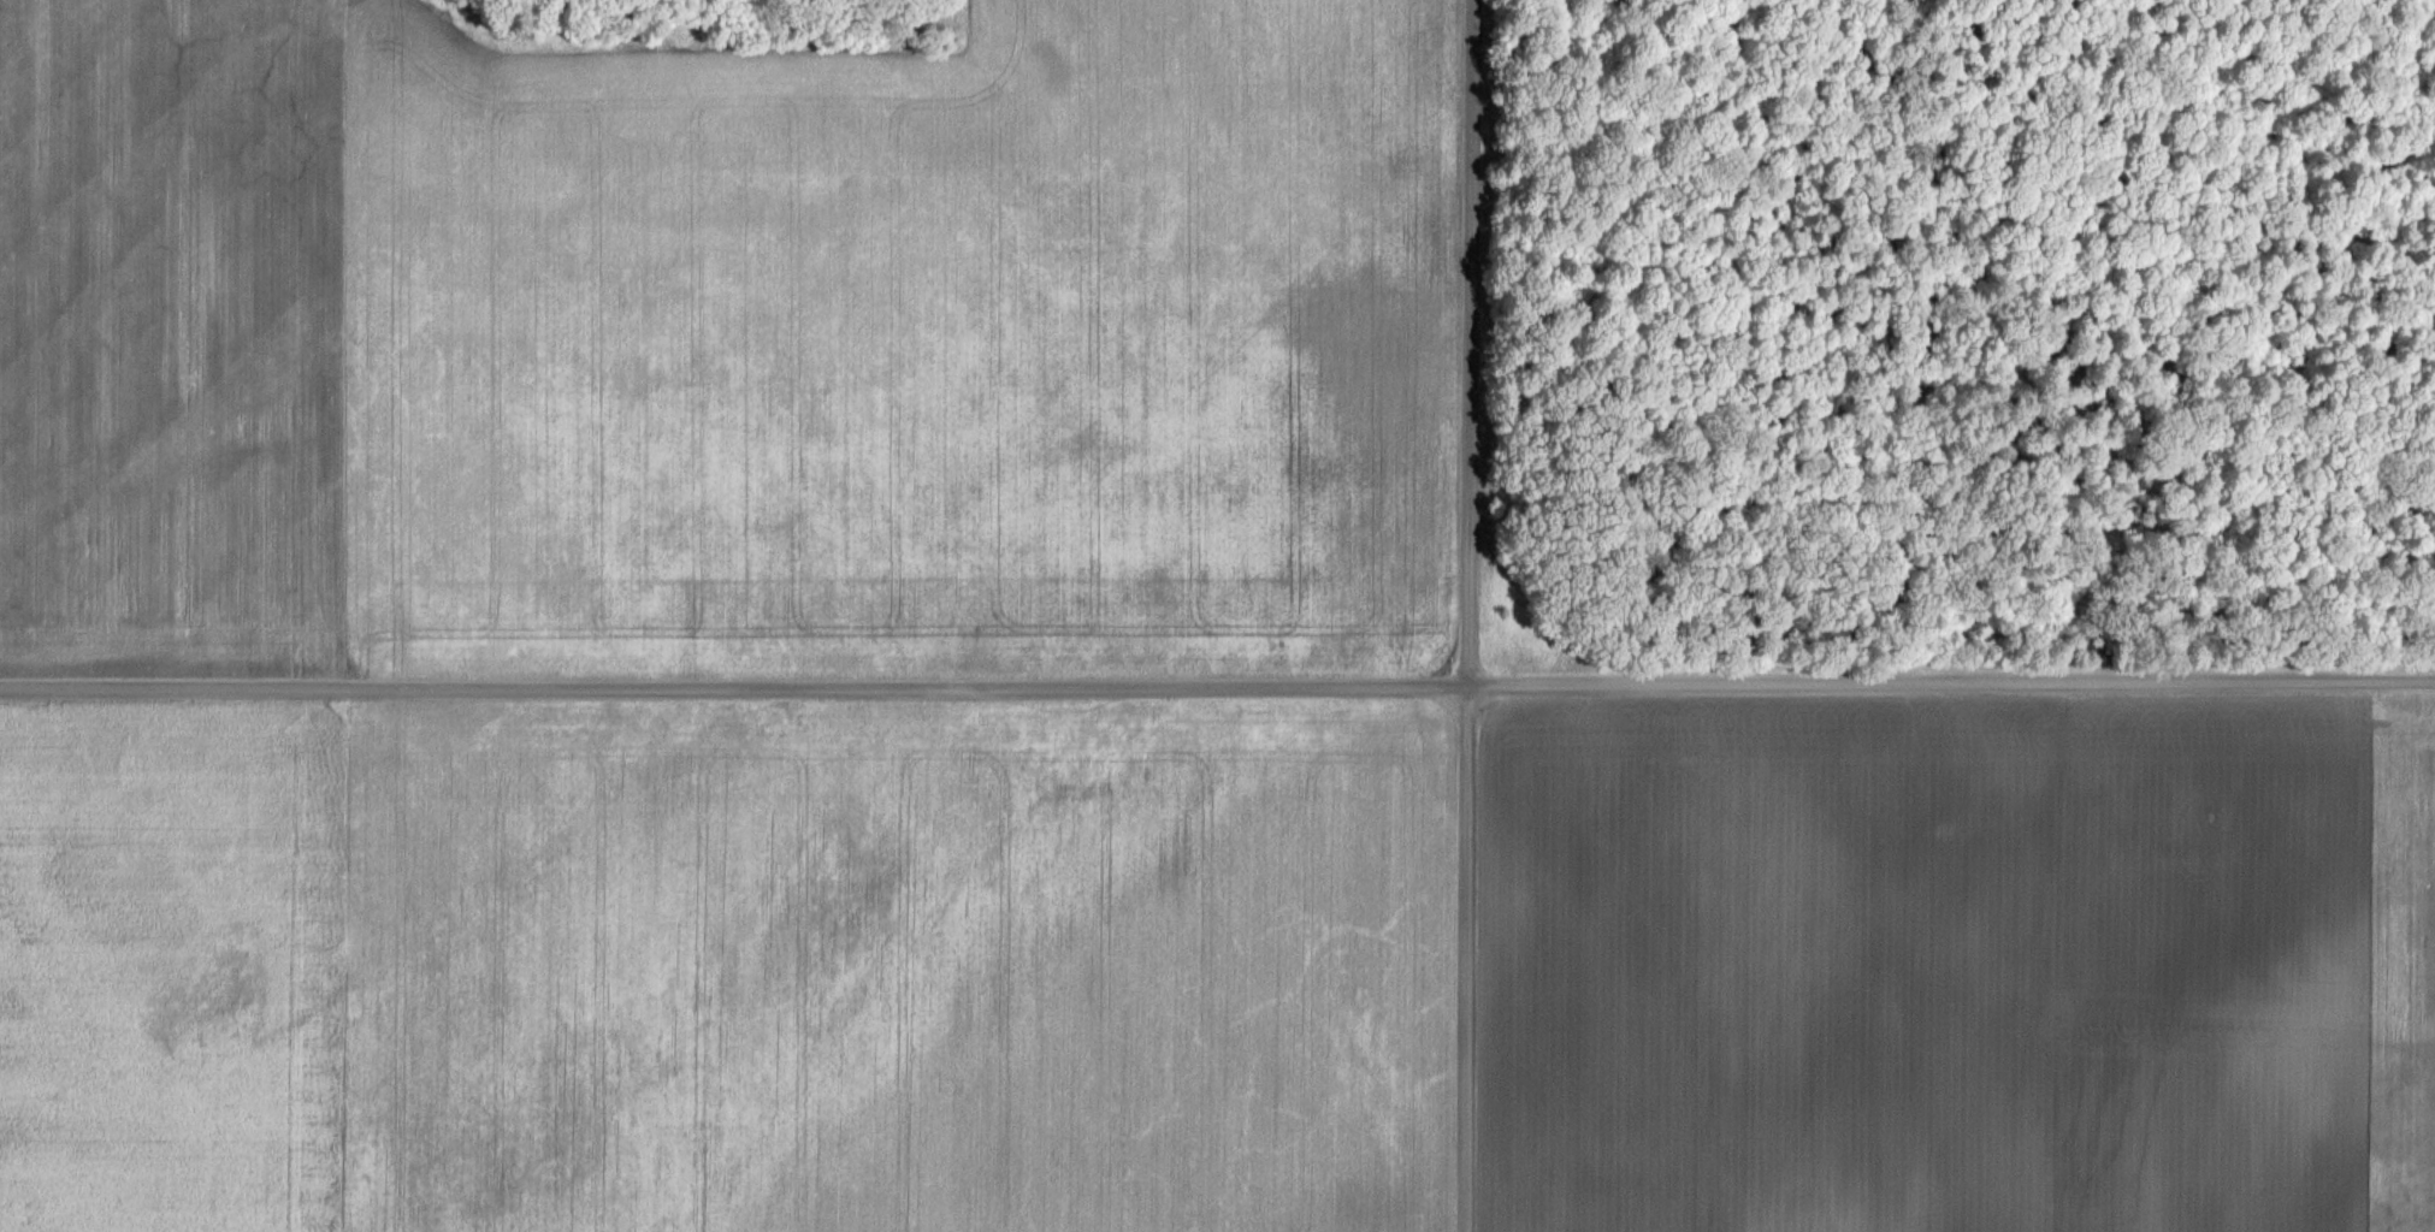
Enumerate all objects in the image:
road: (1471, 615)
road: (1217, 688)

